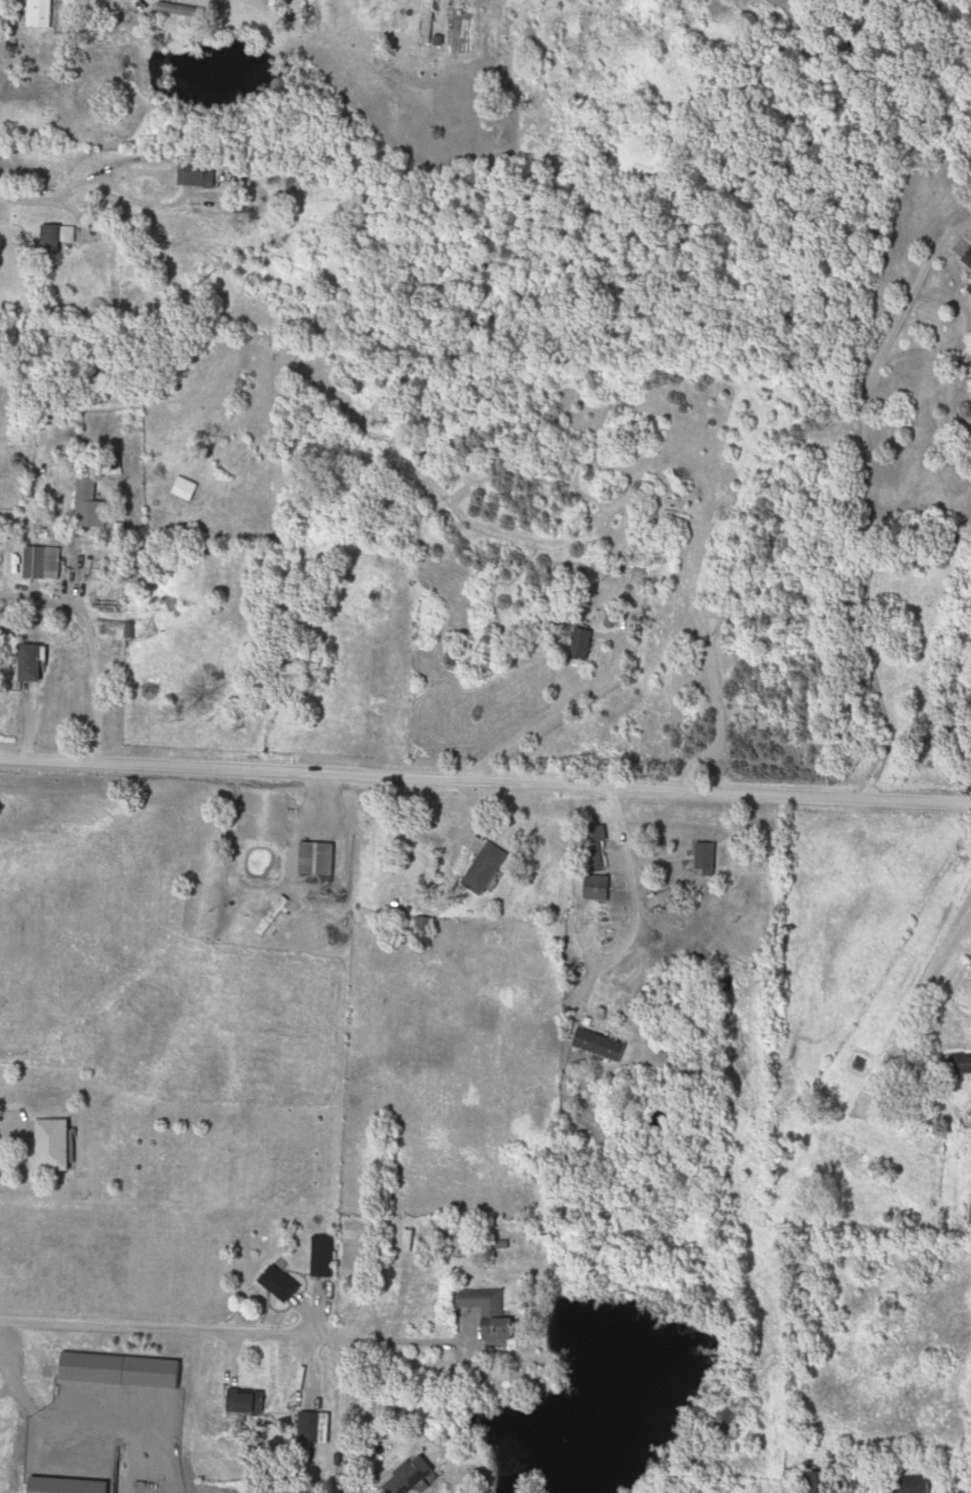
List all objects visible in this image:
building: (43, 13)
building: (429, 21)
building: (50, 86)
building: (26, 98)
building: (200, 171)
building: (59, 237)
building: (967, 287)
road: (960, 337)
building: (188, 489)
road: (866, 498)
building: (93, 505)
road: (27, 523)
building: (44, 563)
building: (611, 618)
building: (590, 644)
road: (98, 645)
building: (36, 662)
road: (552, 718)
road: (485, 784)
building: (319, 859)
building: (708, 860)
building: (487, 865)
building: (600, 888)
road: (262, 900)
road: (634, 920)
building: (426, 932)
building: (770, 978)
building: (603, 1045)
road: (882, 1077)
road: (16, 1133)
building: (61, 1145)
building: (940, 1231)
building: (544, 1232)
building: (409, 1240)
building: (327, 1256)
building: (282, 1283)
building: (493, 1313)
road: (241, 1339)
building: (252, 1403)
road: (341, 1414)
building: (318, 1428)
building: (414, 1476)
building: (819, 1482)
building: (920, 1485)

